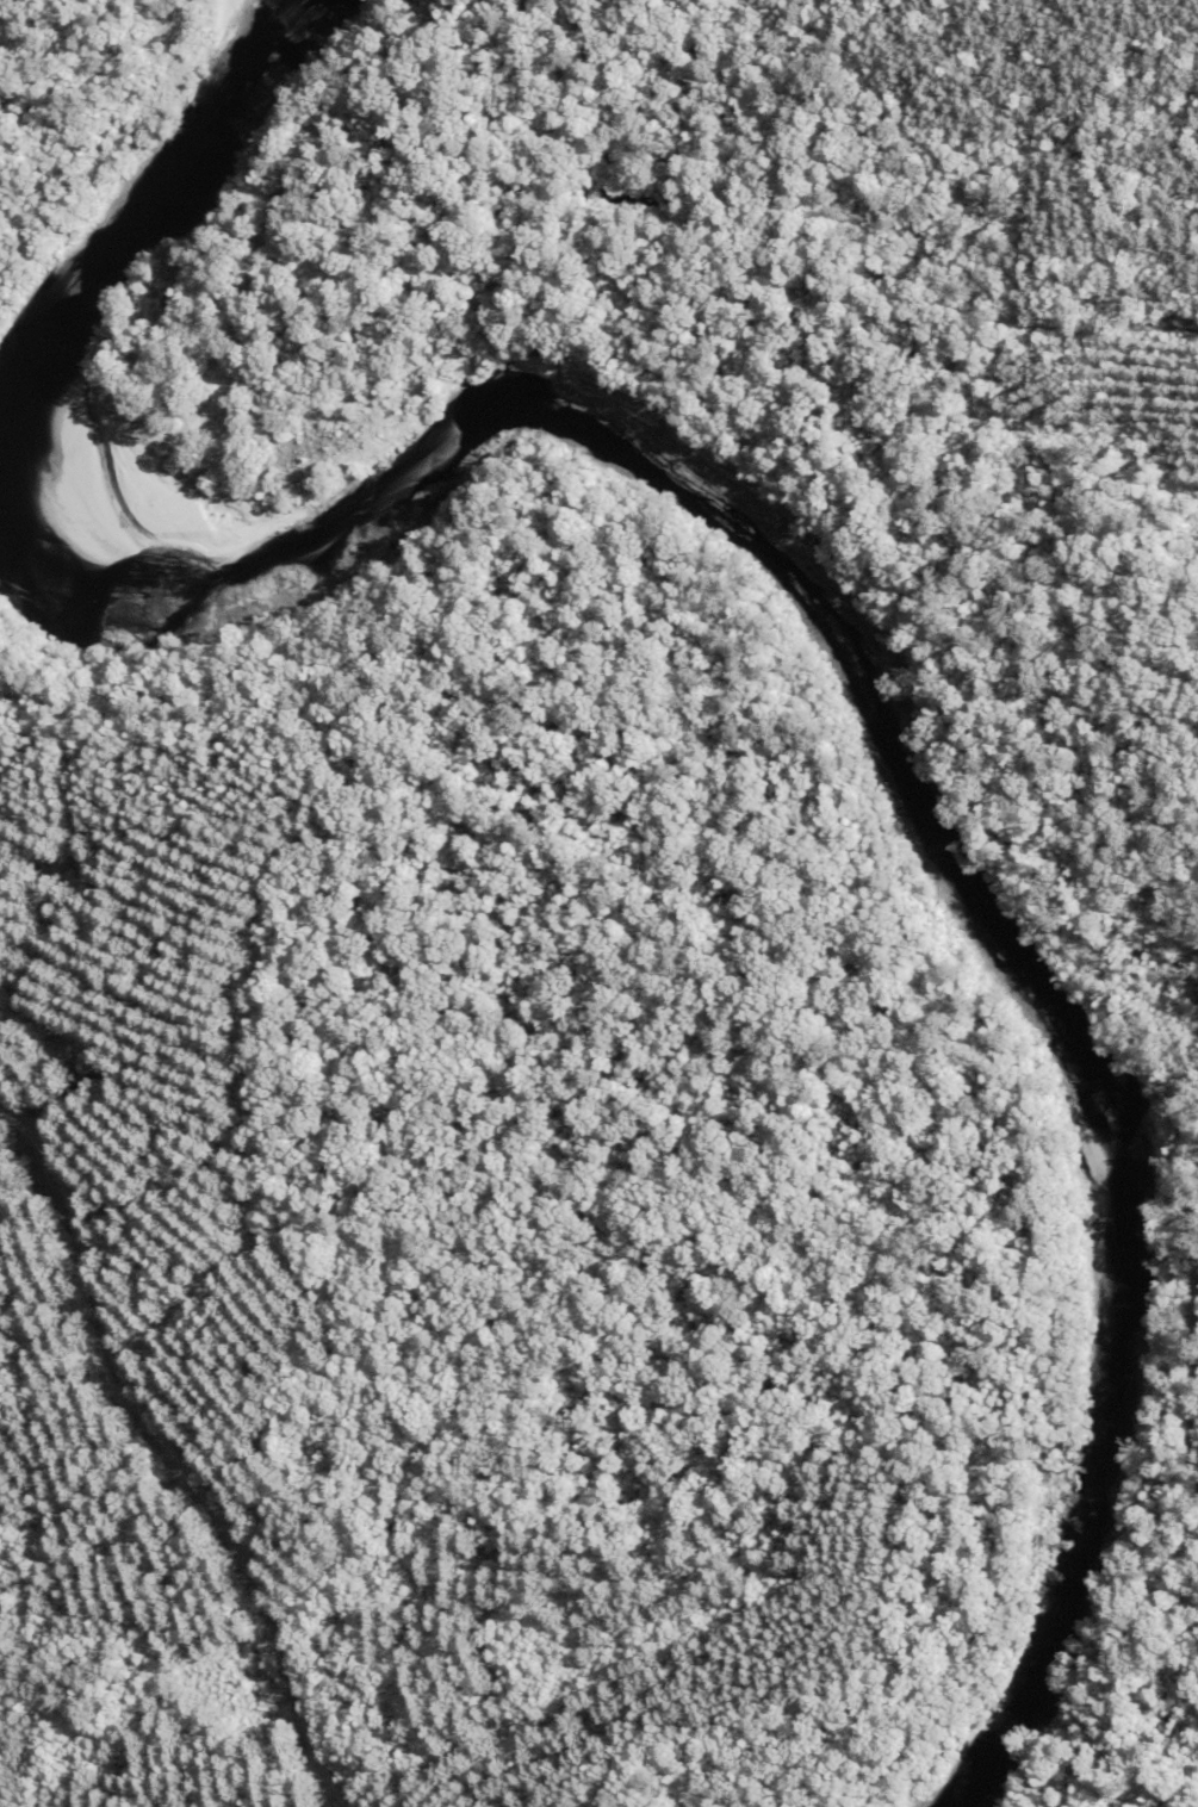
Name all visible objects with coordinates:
road: (306, 150)
river: (136, 213)
river: (889, 750)
road: (173, 1460)

